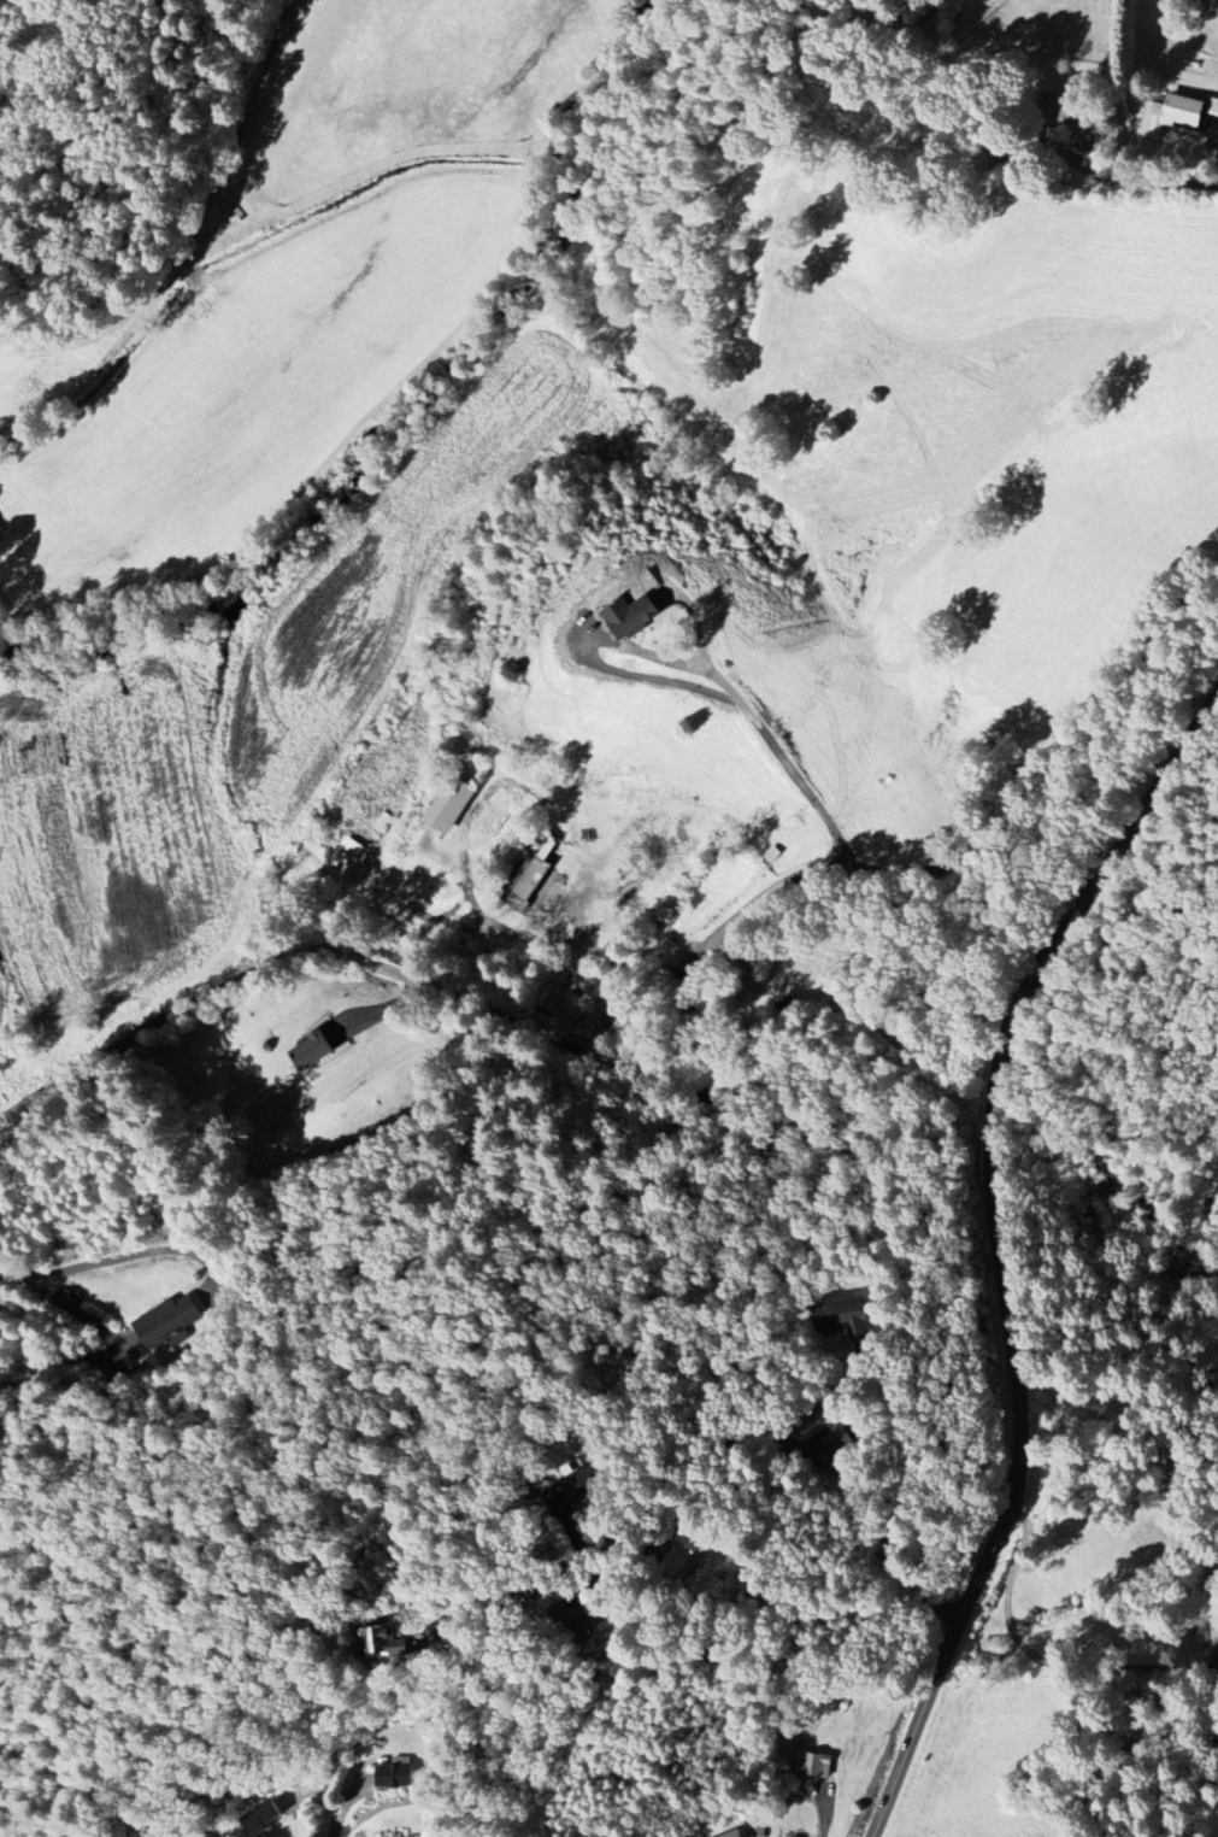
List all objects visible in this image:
building: (1172, 117)
road: (1119, 174)
road: (784, 755)
building: (449, 805)
building: (349, 861)
building: (531, 874)
road: (690, 1045)
building: (312, 1051)
road: (1001, 1246)
road: (113, 1252)
road: (69, 1309)
building: (845, 1322)
building: (169, 1324)
road: (811, 1412)
building: (577, 1491)
building: (683, 1555)
building: (383, 1645)
road: (1066, 1719)
building: (813, 1766)
building: (395, 1777)
road: (1011, 1797)
road: (824, 1812)
building: (260, 1818)
building: (736, 1836)
road: (759, 1836)

